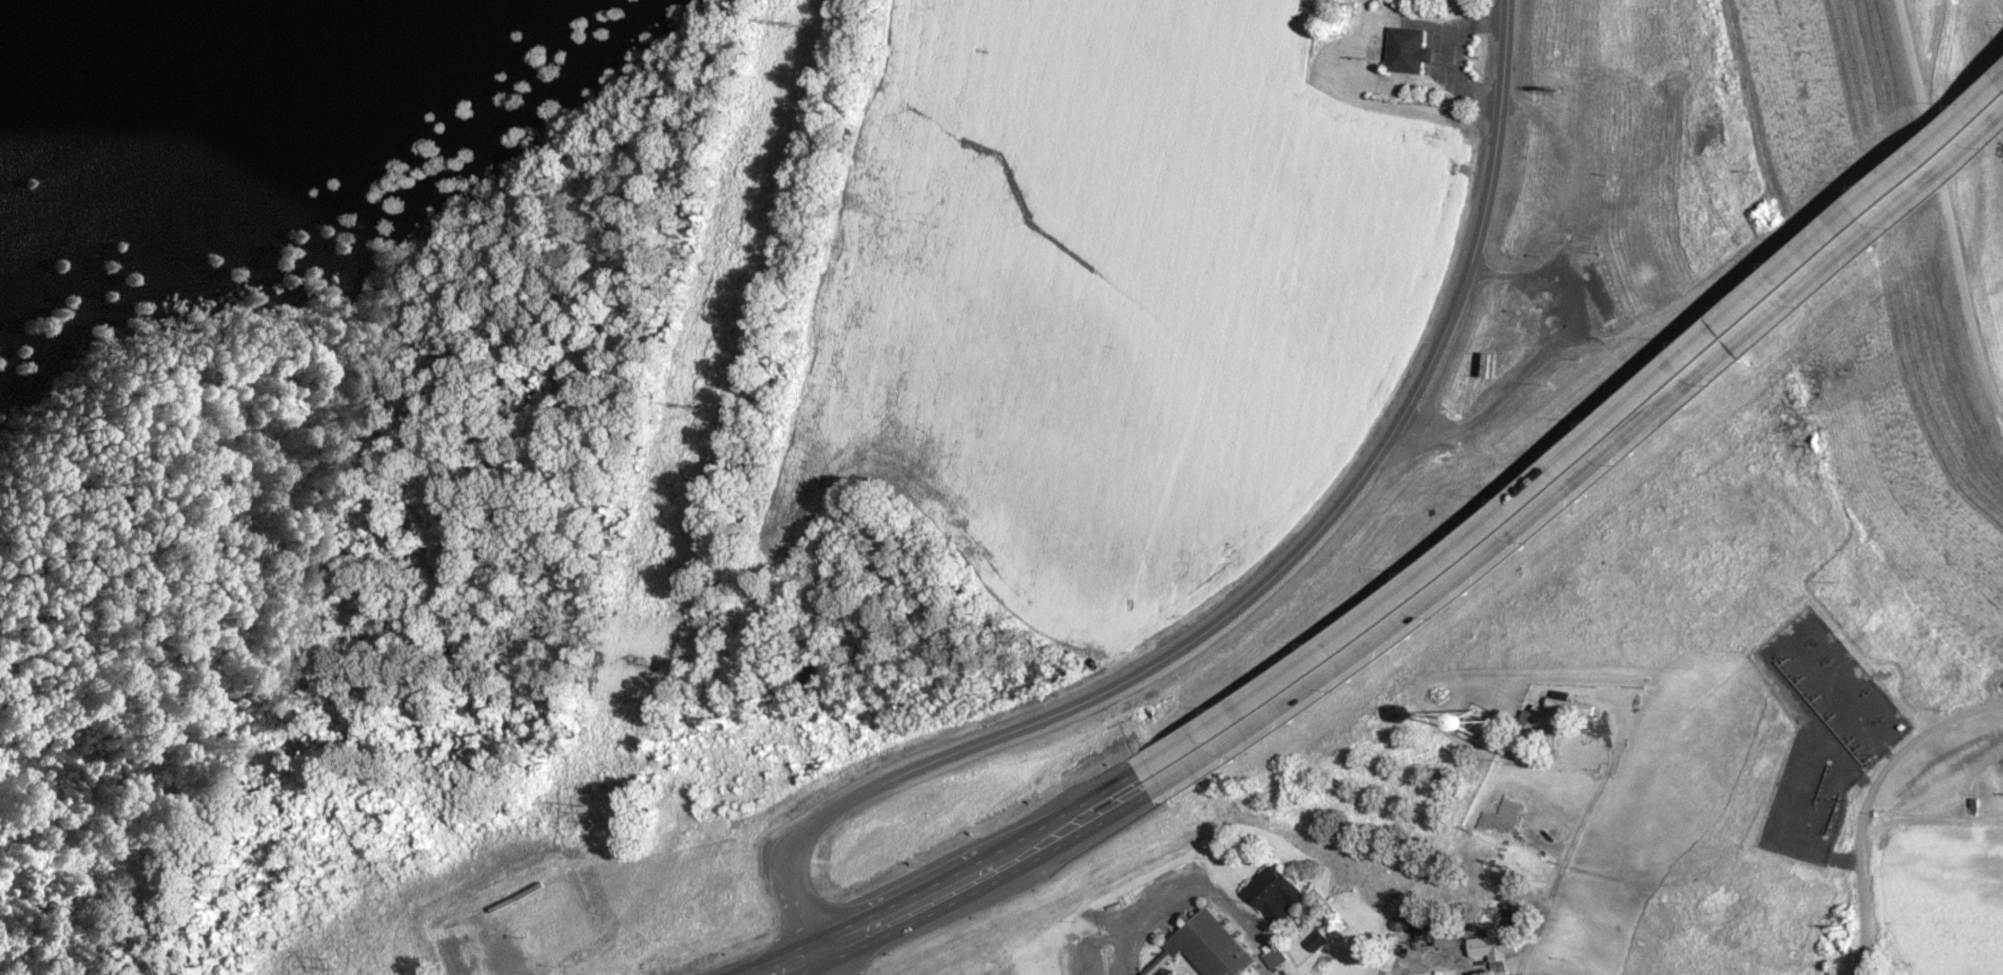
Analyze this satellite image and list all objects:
power tower: (791, 31)
road: (1929, 49)
building: (1404, 54)
road: (1946, 209)
power tower: (698, 413)
road: (1580, 442)
road: (1587, 473)
road: (1267, 583)
water tower: (1504, 720)
building: (1197, 762)
road: (1863, 801)
power tower: (585, 820)
road: (1083, 834)
road: (1570, 855)
road: (975, 864)
building: (1275, 907)
road: (922, 918)
building: (1442, 942)
building: (1215, 944)
building: (1489, 949)
road: (777, 960)
road: (820, 960)
building: (1272, 962)
power tower: (329, 967)
road: (815, 971)

